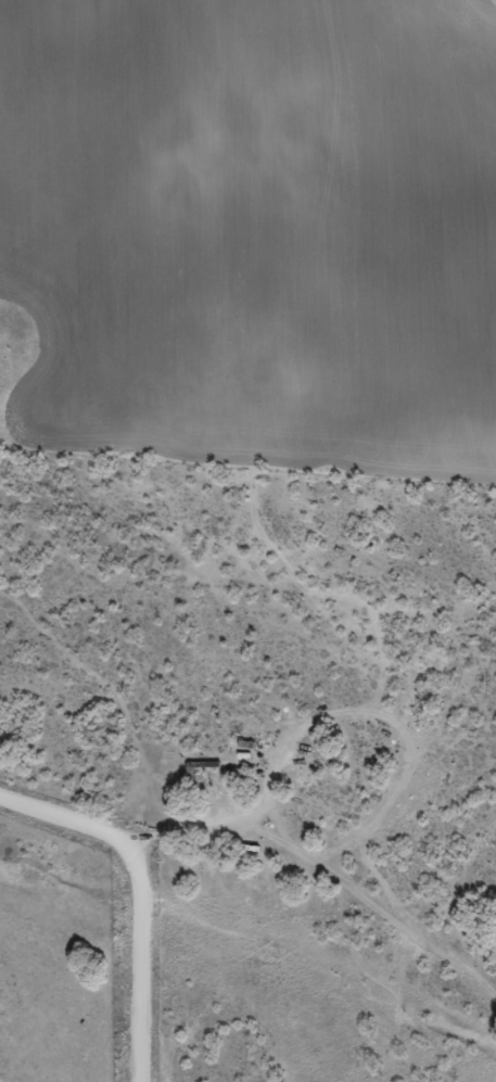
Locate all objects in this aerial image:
building: (200, 778)
road: (138, 899)
road: (385, 946)

